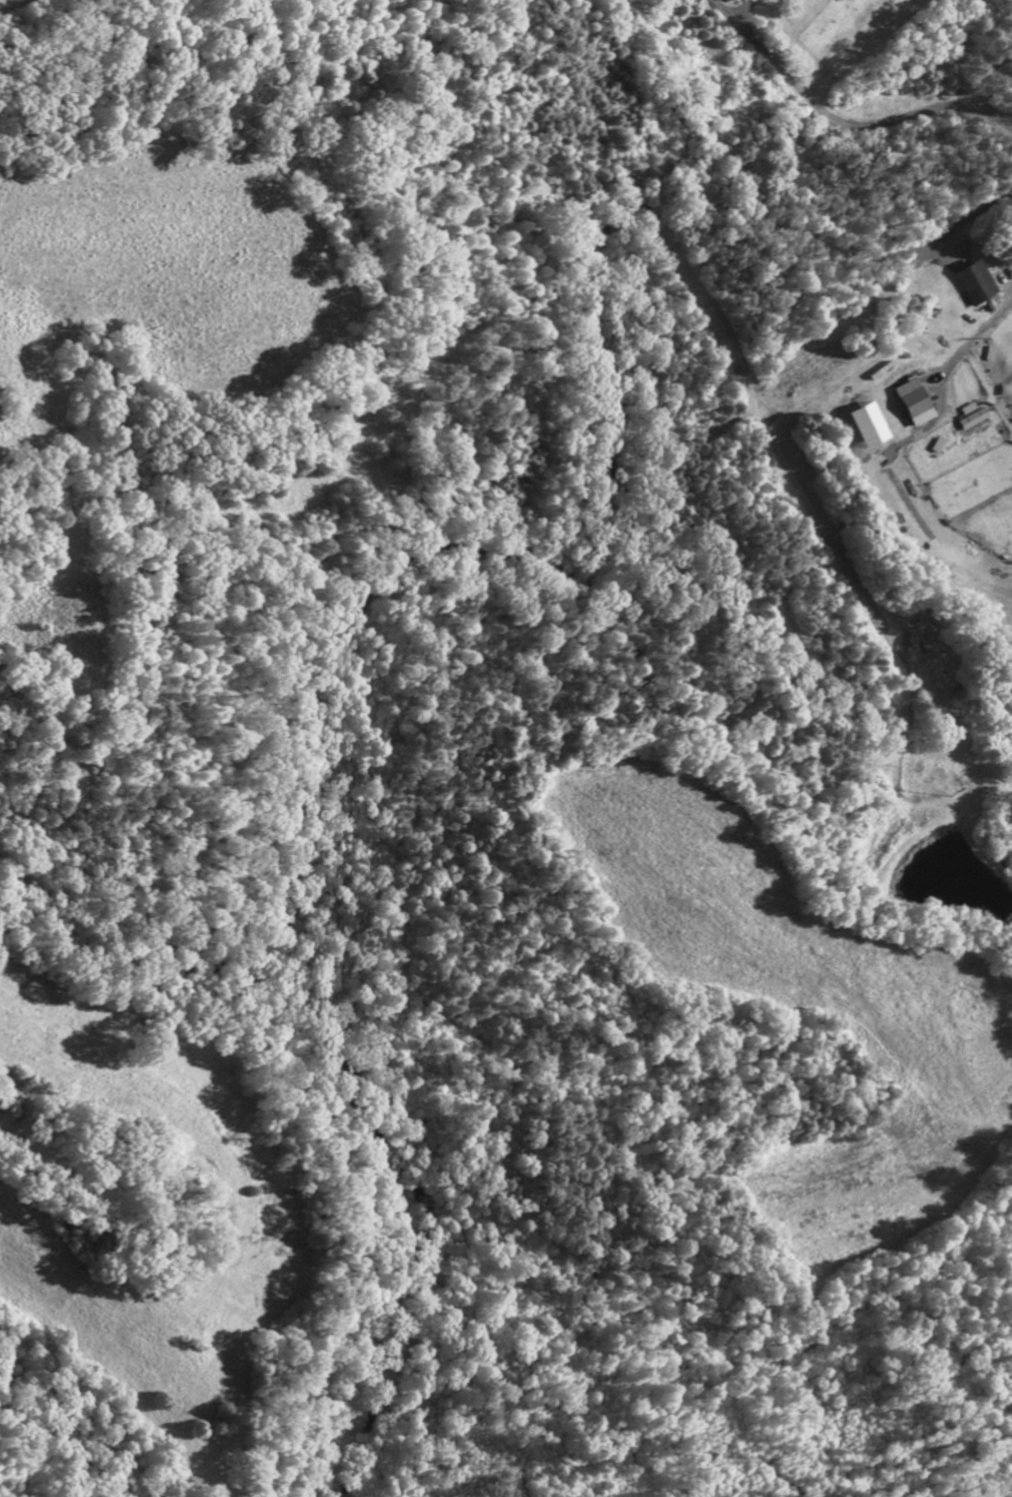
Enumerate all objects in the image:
road: (740, 10)
road: (844, 124)
building: (975, 286)
building: (914, 406)
building: (975, 419)
building: (867, 429)

